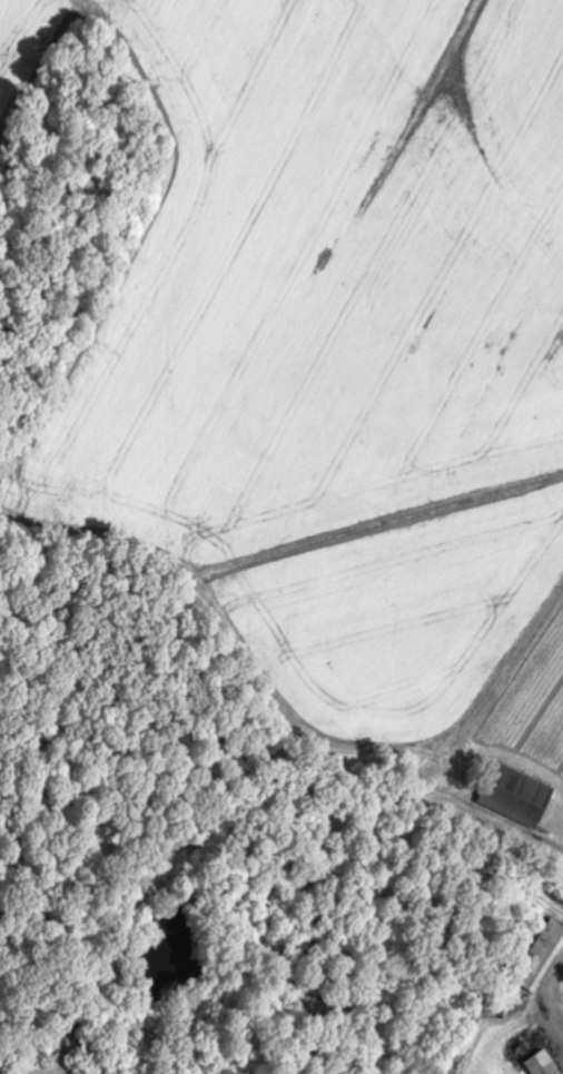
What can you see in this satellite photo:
building: (515, 795)
building: (543, 957)
building: (542, 1064)

